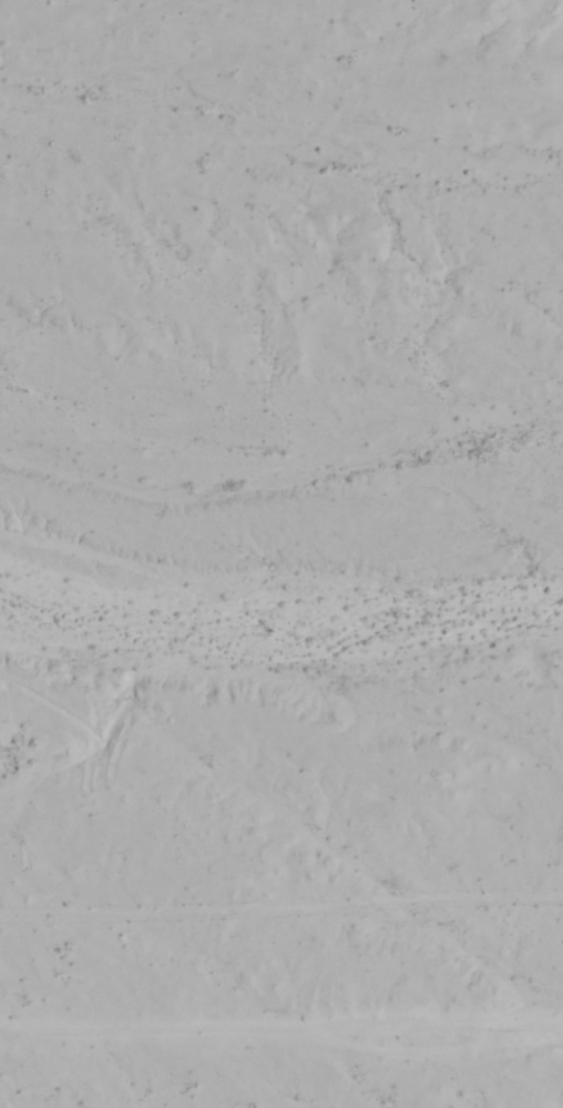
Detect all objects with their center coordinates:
road: (280, 1024)

